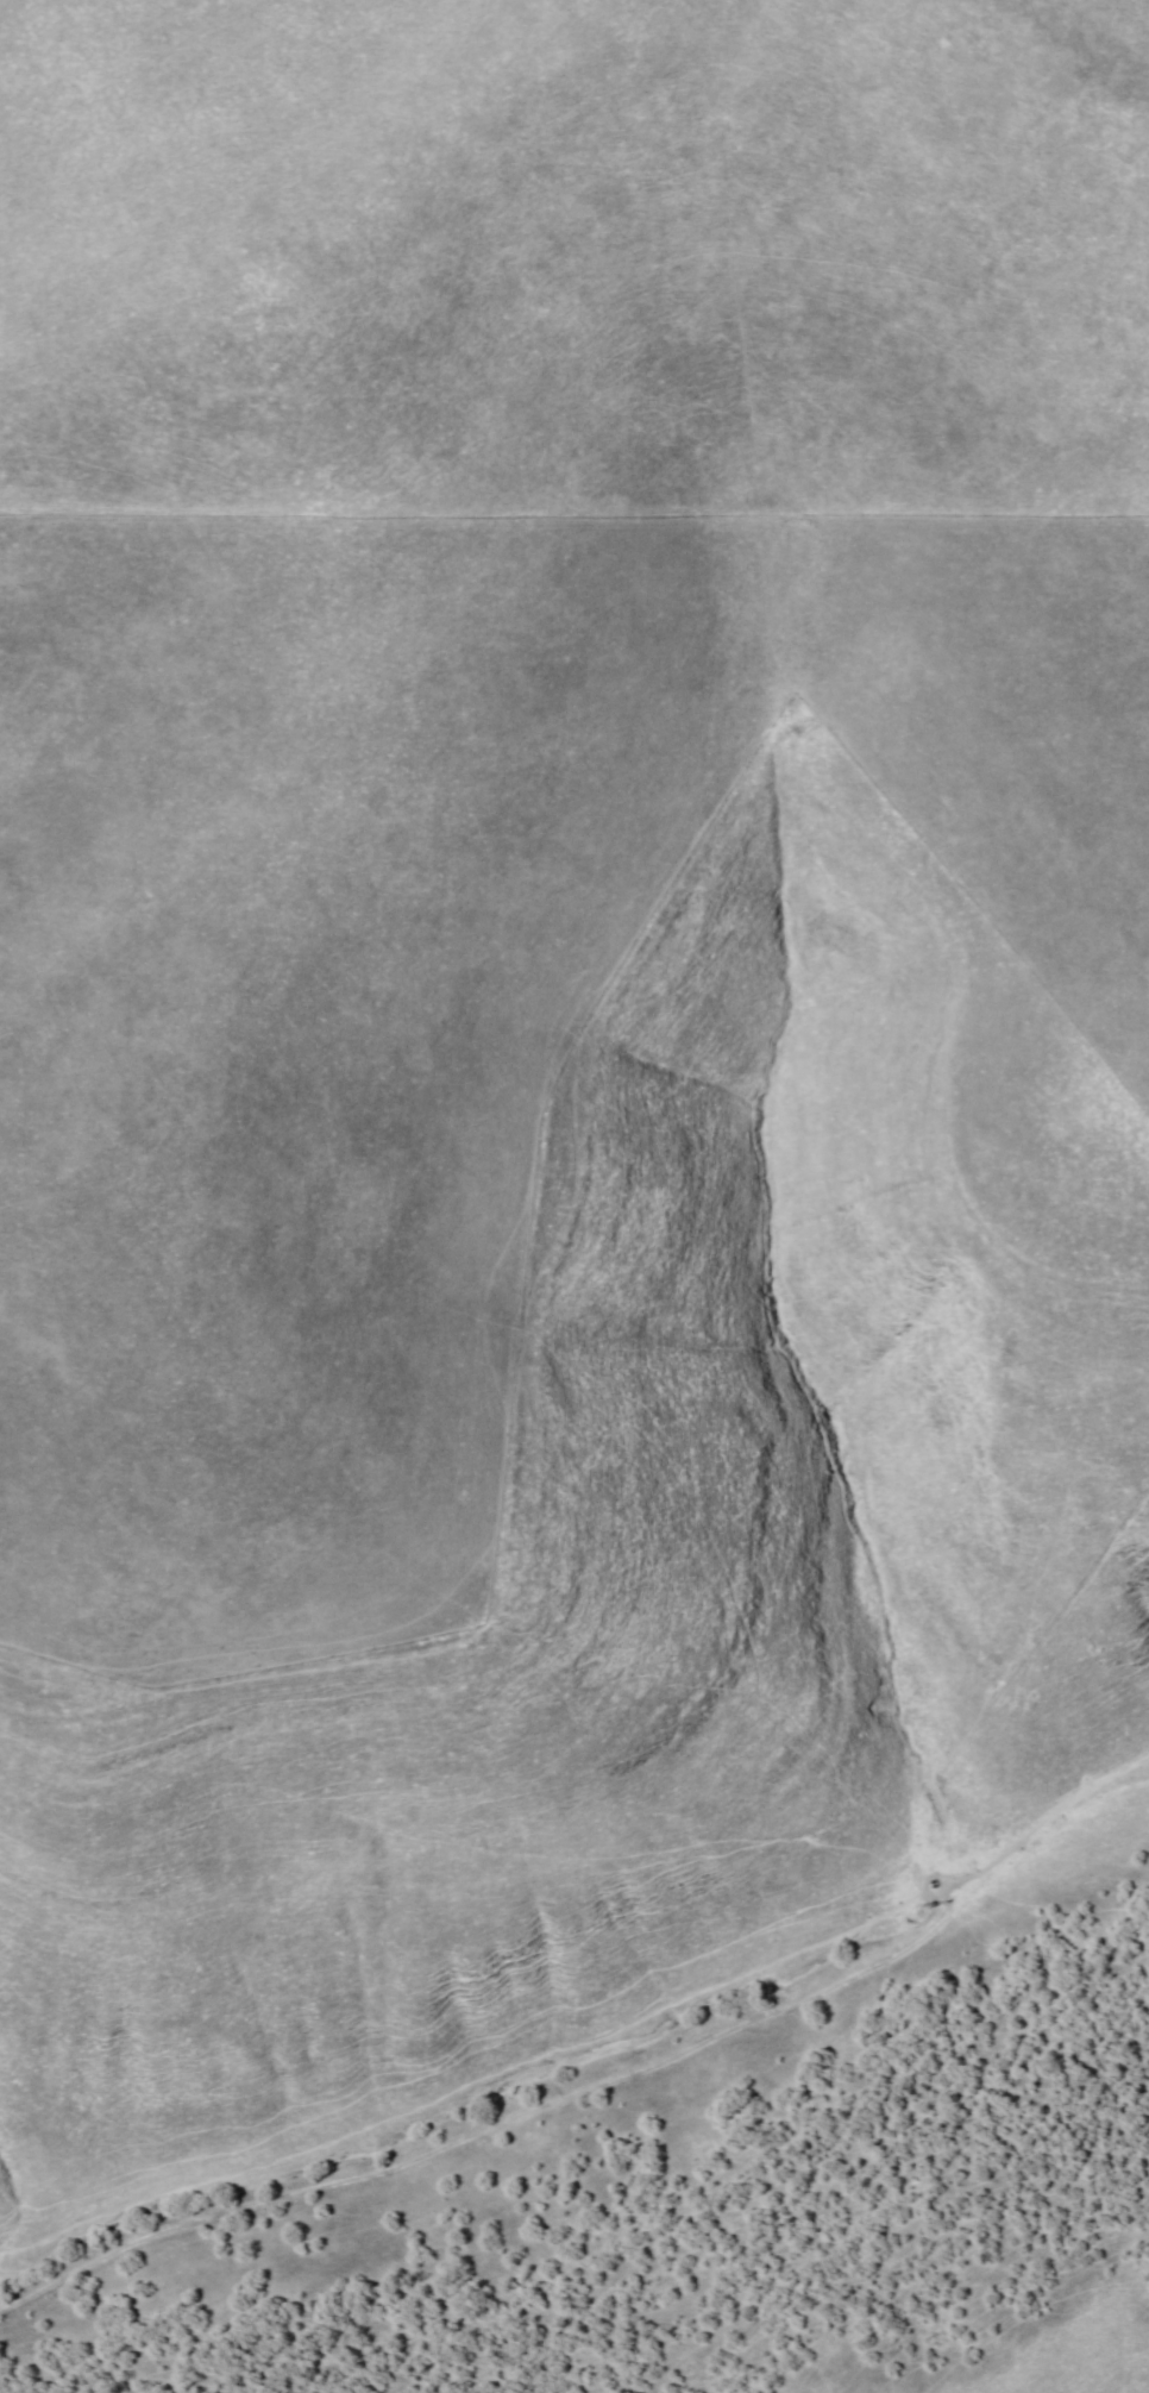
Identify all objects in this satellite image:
road: (491, 2149)

